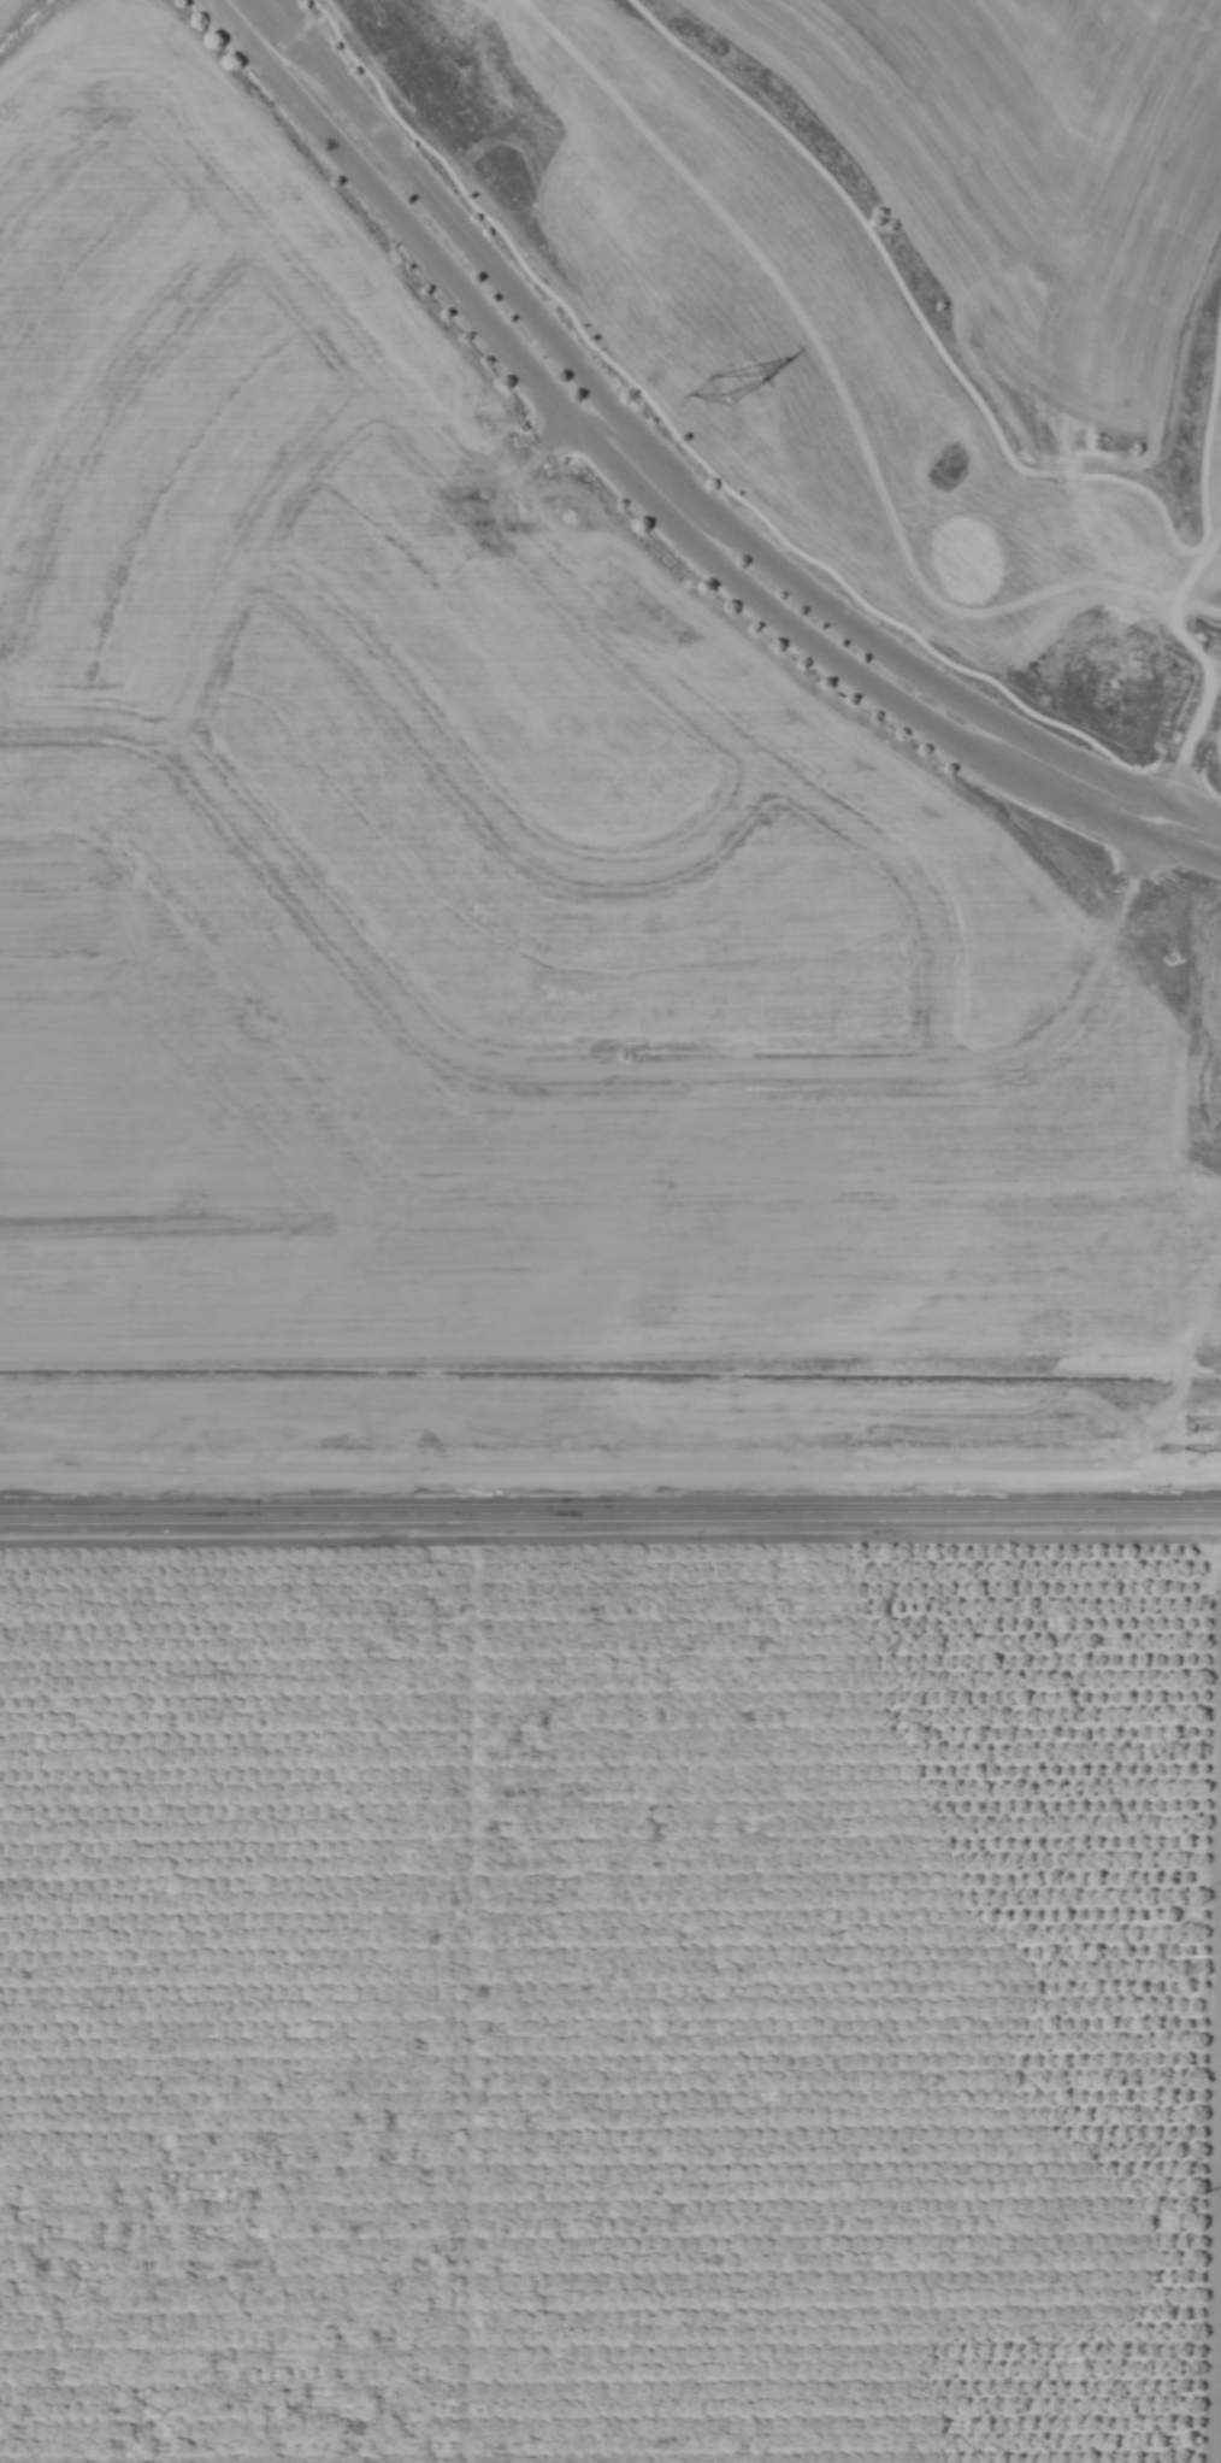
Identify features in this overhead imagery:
power tower: (756, 390)
road: (610, 1513)

